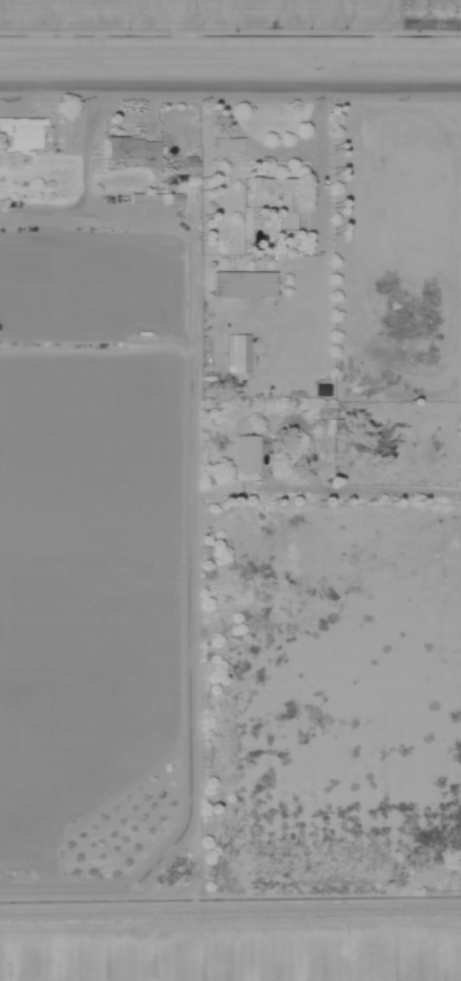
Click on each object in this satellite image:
road: (230, 90)
building: (20, 136)
building: (224, 149)
building: (126, 153)
building: (272, 200)
building: (240, 286)
building: (235, 355)
building: (245, 455)

